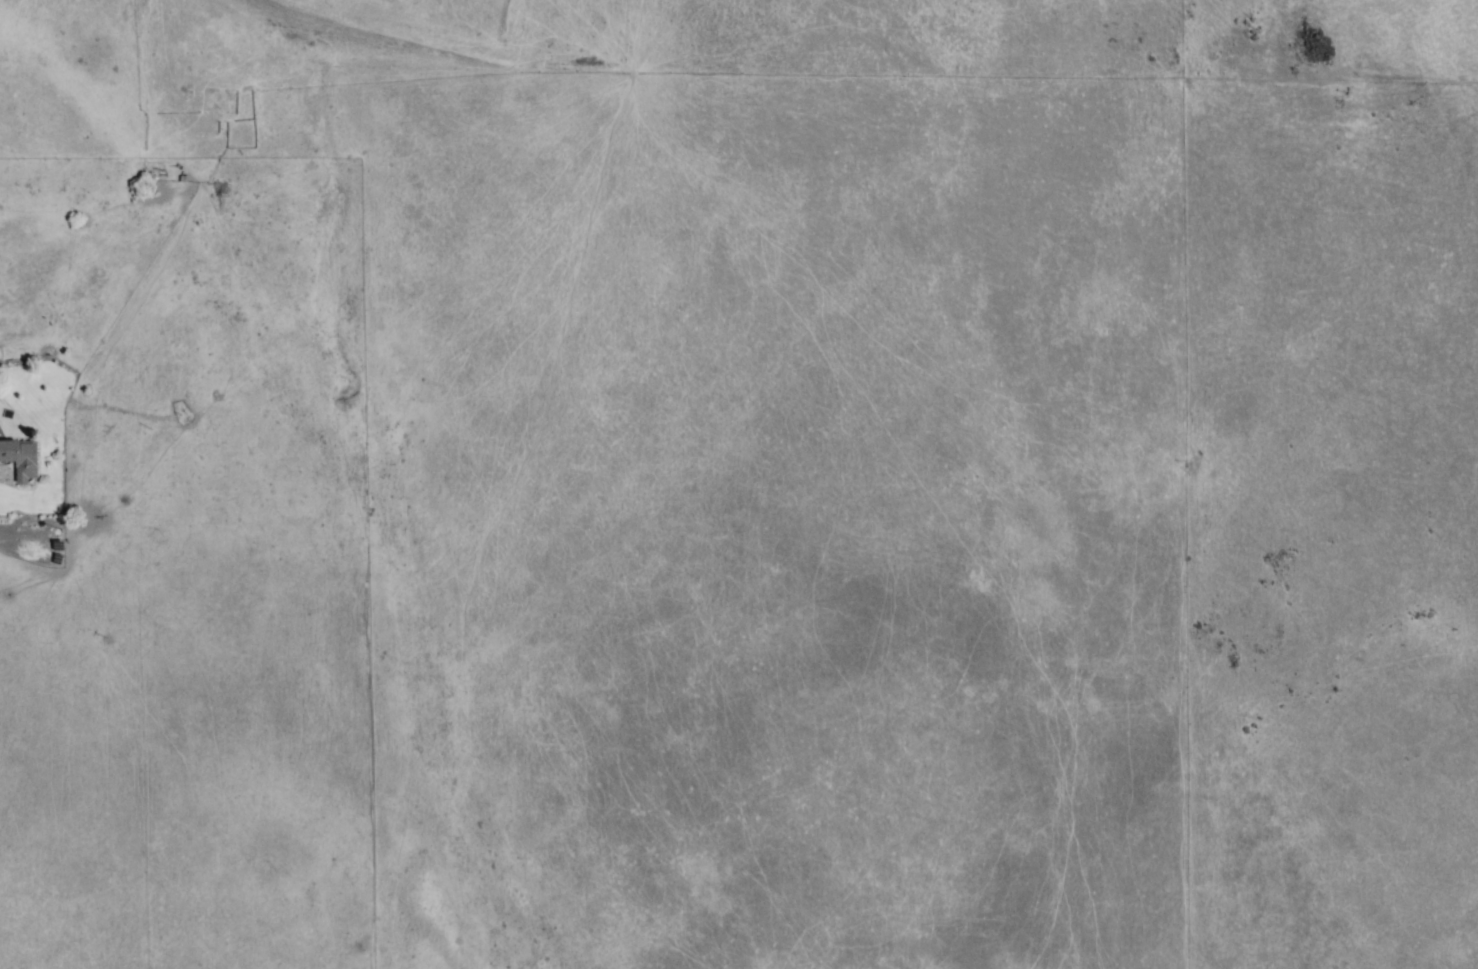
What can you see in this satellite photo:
building: (21, 458)

